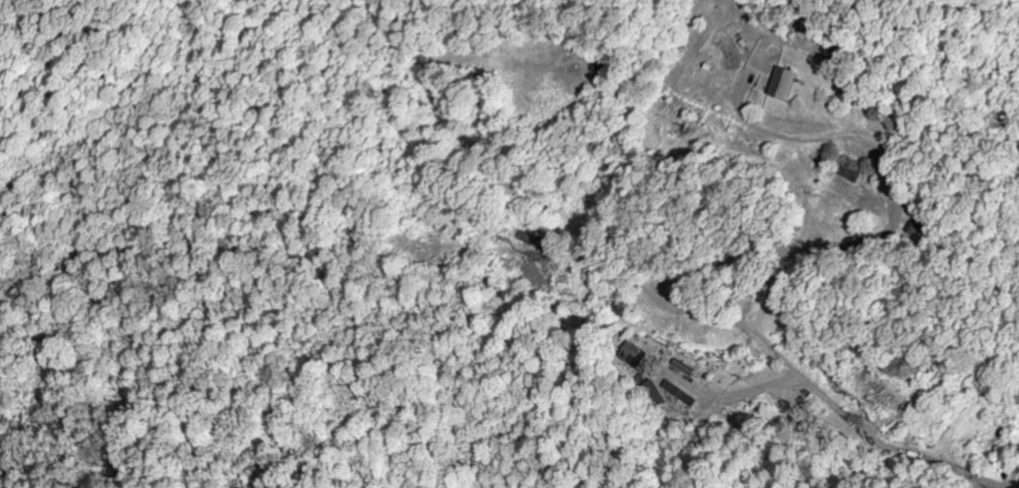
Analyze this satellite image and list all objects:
building: (788, 85)
building: (852, 175)
building: (689, 369)
building: (686, 395)

